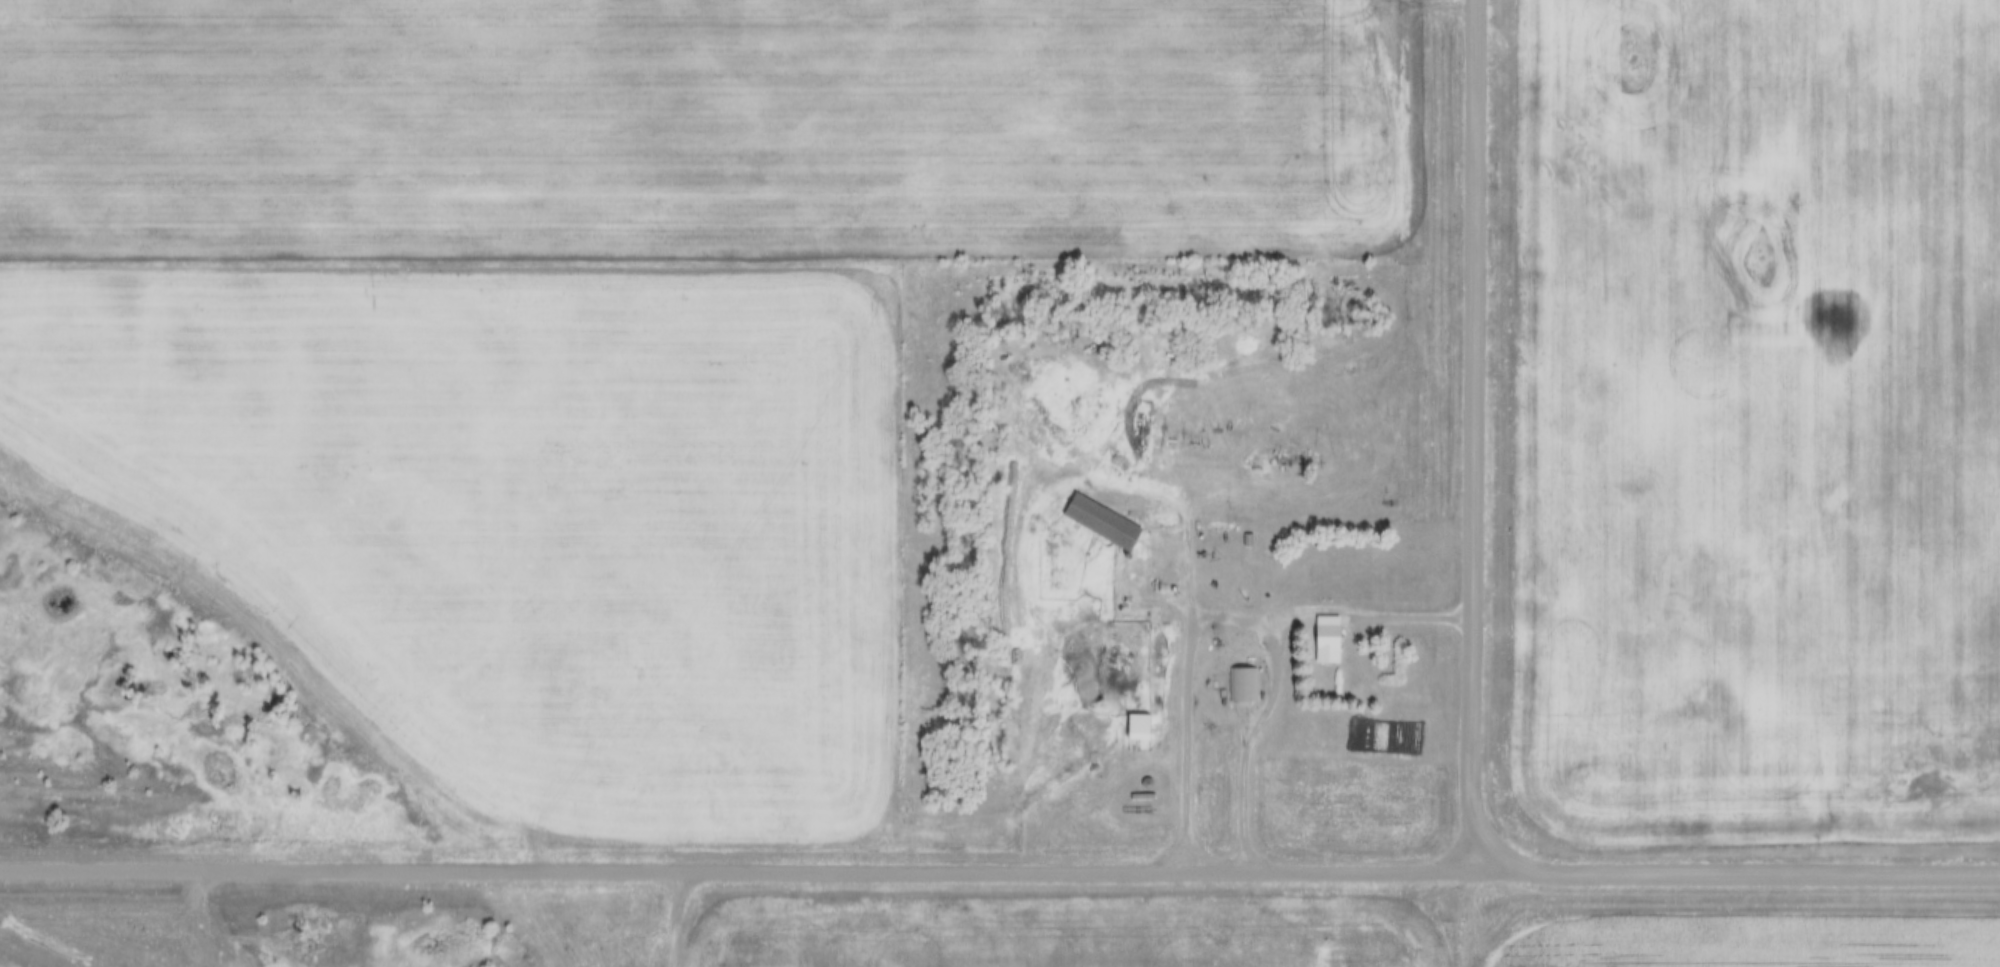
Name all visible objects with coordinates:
road: (1477, 435)
building: (1083, 509)
building: (1231, 527)
building: (1249, 540)
road: (1215, 620)
building: (1310, 627)
building: (1331, 640)
building: (1226, 671)
building: (1243, 685)
building: (1119, 716)
building: (1139, 716)
road: (1250, 738)
building: (1130, 771)
silo: (1130, 771)
road: (736, 868)
road: (1736, 871)

